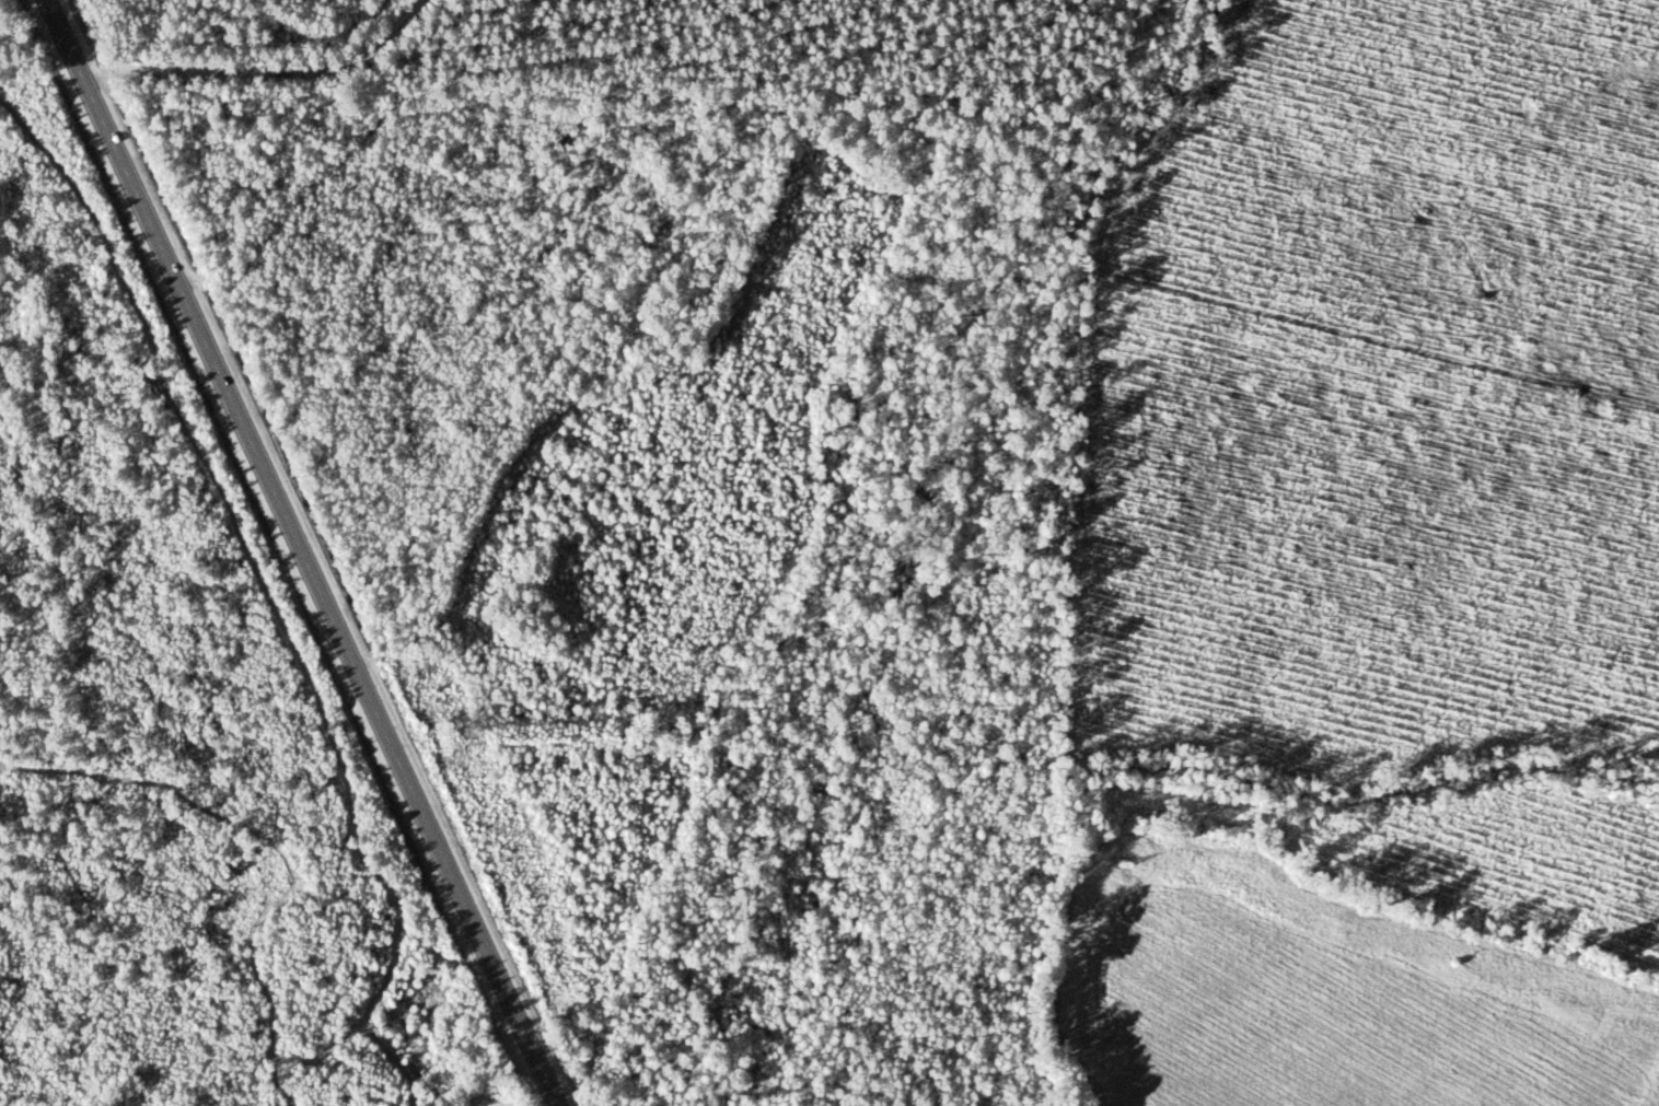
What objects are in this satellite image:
road: (304, 554)

